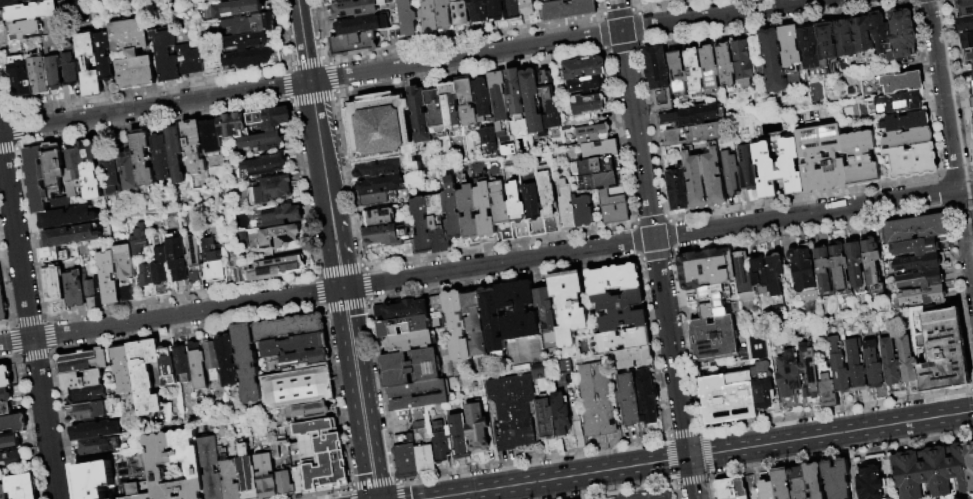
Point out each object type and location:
building: (219, 0)
building: (568, 0)
building: (237, 1)
building: (341, 1)
building: (19, 3)
building: (527, 7)
building: (965, 7)
building: (359, 9)
building: (237, 10)
building: (513, 10)
building: (569, 10)
park: (682, 10)
building: (478, 11)
building: (496, 11)
building: (32, 13)
building: (460, 13)
building: (443, 15)
building: (429, 17)
building: (408, 19)
building: (965, 24)
building: (250, 26)
building: (363, 26)
building: (25, 31)
building: (880, 34)
building: (902, 34)
building: (862, 40)
building: (967, 41)
building: (248, 42)
building: (834, 43)
building: (359, 44)
building: (789, 46)
building: (808, 46)
building: (18, 50)
building: (133, 55)
building: (105, 56)
building: (166, 56)
building: (967, 57)
building: (247, 60)
building: (189, 62)
building: (772, 62)
building: (742, 63)
building: (725, 65)
building: (90, 66)
road: (405, 66)
building: (709, 68)
building: (585, 69)
building: (693, 71)
building: (759, 71)
building: (71, 72)
building: (677, 73)
building: (55, 74)
building: (40, 77)
building: (22, 78)
building: (658, 79)
building: (901, 83)
building: (587, 86)
building: (971, 89)
building: (547, 91)
building: (499, 97)
building: (483, 100)
building: (468, 102)
building: (971, 102)
building: (534, 103)
building: (896, 103)
building: (518, 105)
building: (589, 108)
building: (452, 110)
building: (437, 114)
building: (421, 116)
building: (691, 116)
building: (270, 119)
building: (905, 122)
building: (972, 122)
building: (231, 126)
building: (381, 131)
road: (952, 132)
building: (594, 134)
building: (693, 134)
building: (908, 138)
building: (210, 139)
building: (488, 139)
building: (262, 142)
building: (599, 147)
building: (193, 148)
building: (175, 154)
building: (142, 158)
building: (160, 158)
building: (820, 158)
building: (859, 159)
building: (912, 161)
building: (263, 166)
building: (593, 168)
building: (746, 168)
building: (53, 169)
building: (90, 169)
building: (777, 169)
building: (128, 171)
building: (73, 173)
building: (111, 175)
building: (729, 175)
building: (712, 177)
building: (379, 178)
building: (36, 179)
building: (607, 181)
building: (693, 181)
building: (677, 189)
building: (269, 190)
building: (611, 199)
building: (374, 200)
building: (549, 203)
building: (59, 204)
building: (485, 210)
building: (568, 210)
building: (453, 211)
building: (502, 211)
building: (518, 211)
building: (533, 212)
building: (584, 213)
building: (616, 214)
building: (469, 215)
building: (278, 216)
building: (66, 217)
building: (380, 218)
building: (438, 225)
building: (423, 227)
building: (914, 228)
building: (70, 236)
building: (389, 236)
building: (138, 240)
building: (276, 240)
building: (915, 247)
road: (336, 249)
road: (655, 249)
building: (192, 252)
building: (53, 255)
building: (177, 258)
building: (211, 263)
building: (919, 263)
building: (124, 265)
road: (486, 265)
building: (838, 265)
building: (871, 265)
building: (159, 267)
building: (855, 267)
building: (276, 268)
building: (704, 269)
building: (822, 269)
building: (759, 272)
building: (803, 273)
building: (237, 275)
building: (105, 280)
building: (614, 280)
building: (776, 280)
building: (921, 280)
building: (147, 281)
building: (744, 282)
building: (53, 284)
building: (74, 289)
traffic signals: (342, 289)
building: (89, 292)
building: (126, 295)
building: (923, 296)
building: (712, 302)
building: (2, 307)
building: (570, 307)
building: (406, 310)
building: (518, 311)
building: (622, 312)
building: (547, 315)
road: (28, 319)
building: (493, 321)
building: (476, 325)
building: (458, 326)
building: (403, 327)
building: (291, 328)
building: (714, 340)
building: (622, 341)
building: (412, 342)
building: (295, 346)
building: (943, 352)
building: (635, 358)
building: (212, 361)
building: (84, 362)
building: (229, 362)
building: (304, 363)
building: (247, 364)
building: (890, 364)
building: (183, 365)
building: (908, 365)
building: (198, 367)
building: (856, 367)
building: (168, 368)
building: (411, 369)
building: (123, 370)
building: (536, 370)
building: (874, 370)
building: (761, 371)
building: (809, 371)
building: (840, 375)
building: (145, 377)
building: (5, 378)
building: (787, 380)
building: (82, 381)
building: (827, 387)
building: (297, 389)
building: (86, 395)
building: (6, 397)
building: (419, 397)
building: (648, 397)
building: (727, 399)
building: (596, 400)
building: (630, 401)
building: (5, 411)
building: (309, 412)
building: (513, 412)
building: (87, 413)
building: (562, 417)
building: (546, 421)
building: (14, 424)
building: (477, 430)
building: (96, 431)
building: (460, 436)
building: (10, 443)
building: (441, 445)
building: (99, 446)
building: (425, 449)
road: (700, 456)
building: (406, 457)
traffic signals: (689, 458)
building: (319, 459)
building: (11, 461)
building: (157, 465)
building: (210, 468)
building: (283, 468)
building: (131, 472)
building: (933, 472)
building: (248, 474)
building: (266, 475)
building: (230, 479)
building: (836, 479)
building: (94, 480)
building: (805, 482)
building: (868, 482)
building: (780, 485)
building: (22, 487)
building: (730, 489)
building: (765, 490)
building: (3, 492)

